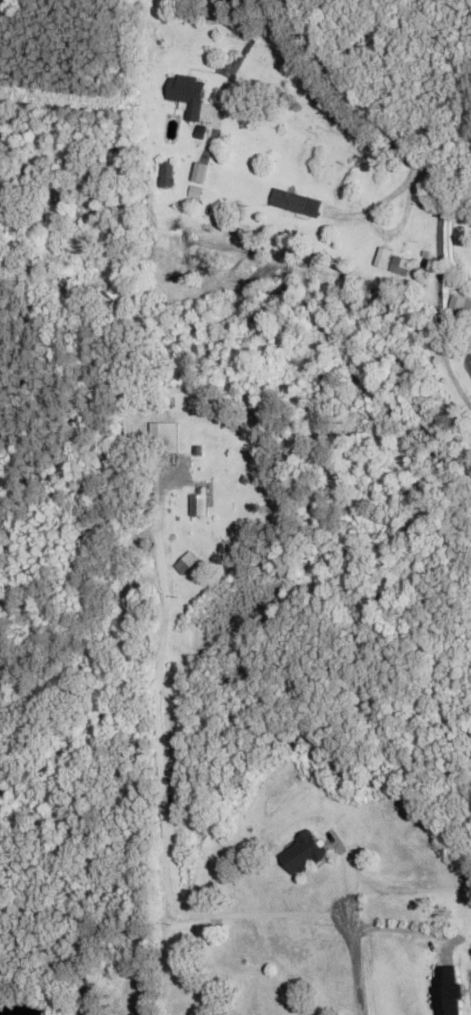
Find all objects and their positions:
building: (187, 95)
road: (403, 143)
building: (296, 204)
building: (402, 258)
building: (382, 259)
building: (456, 306)
building: (163, 438)
building: (199, 503)
road: (165, 855)
building: (300, 855)
building: (445, 991)

